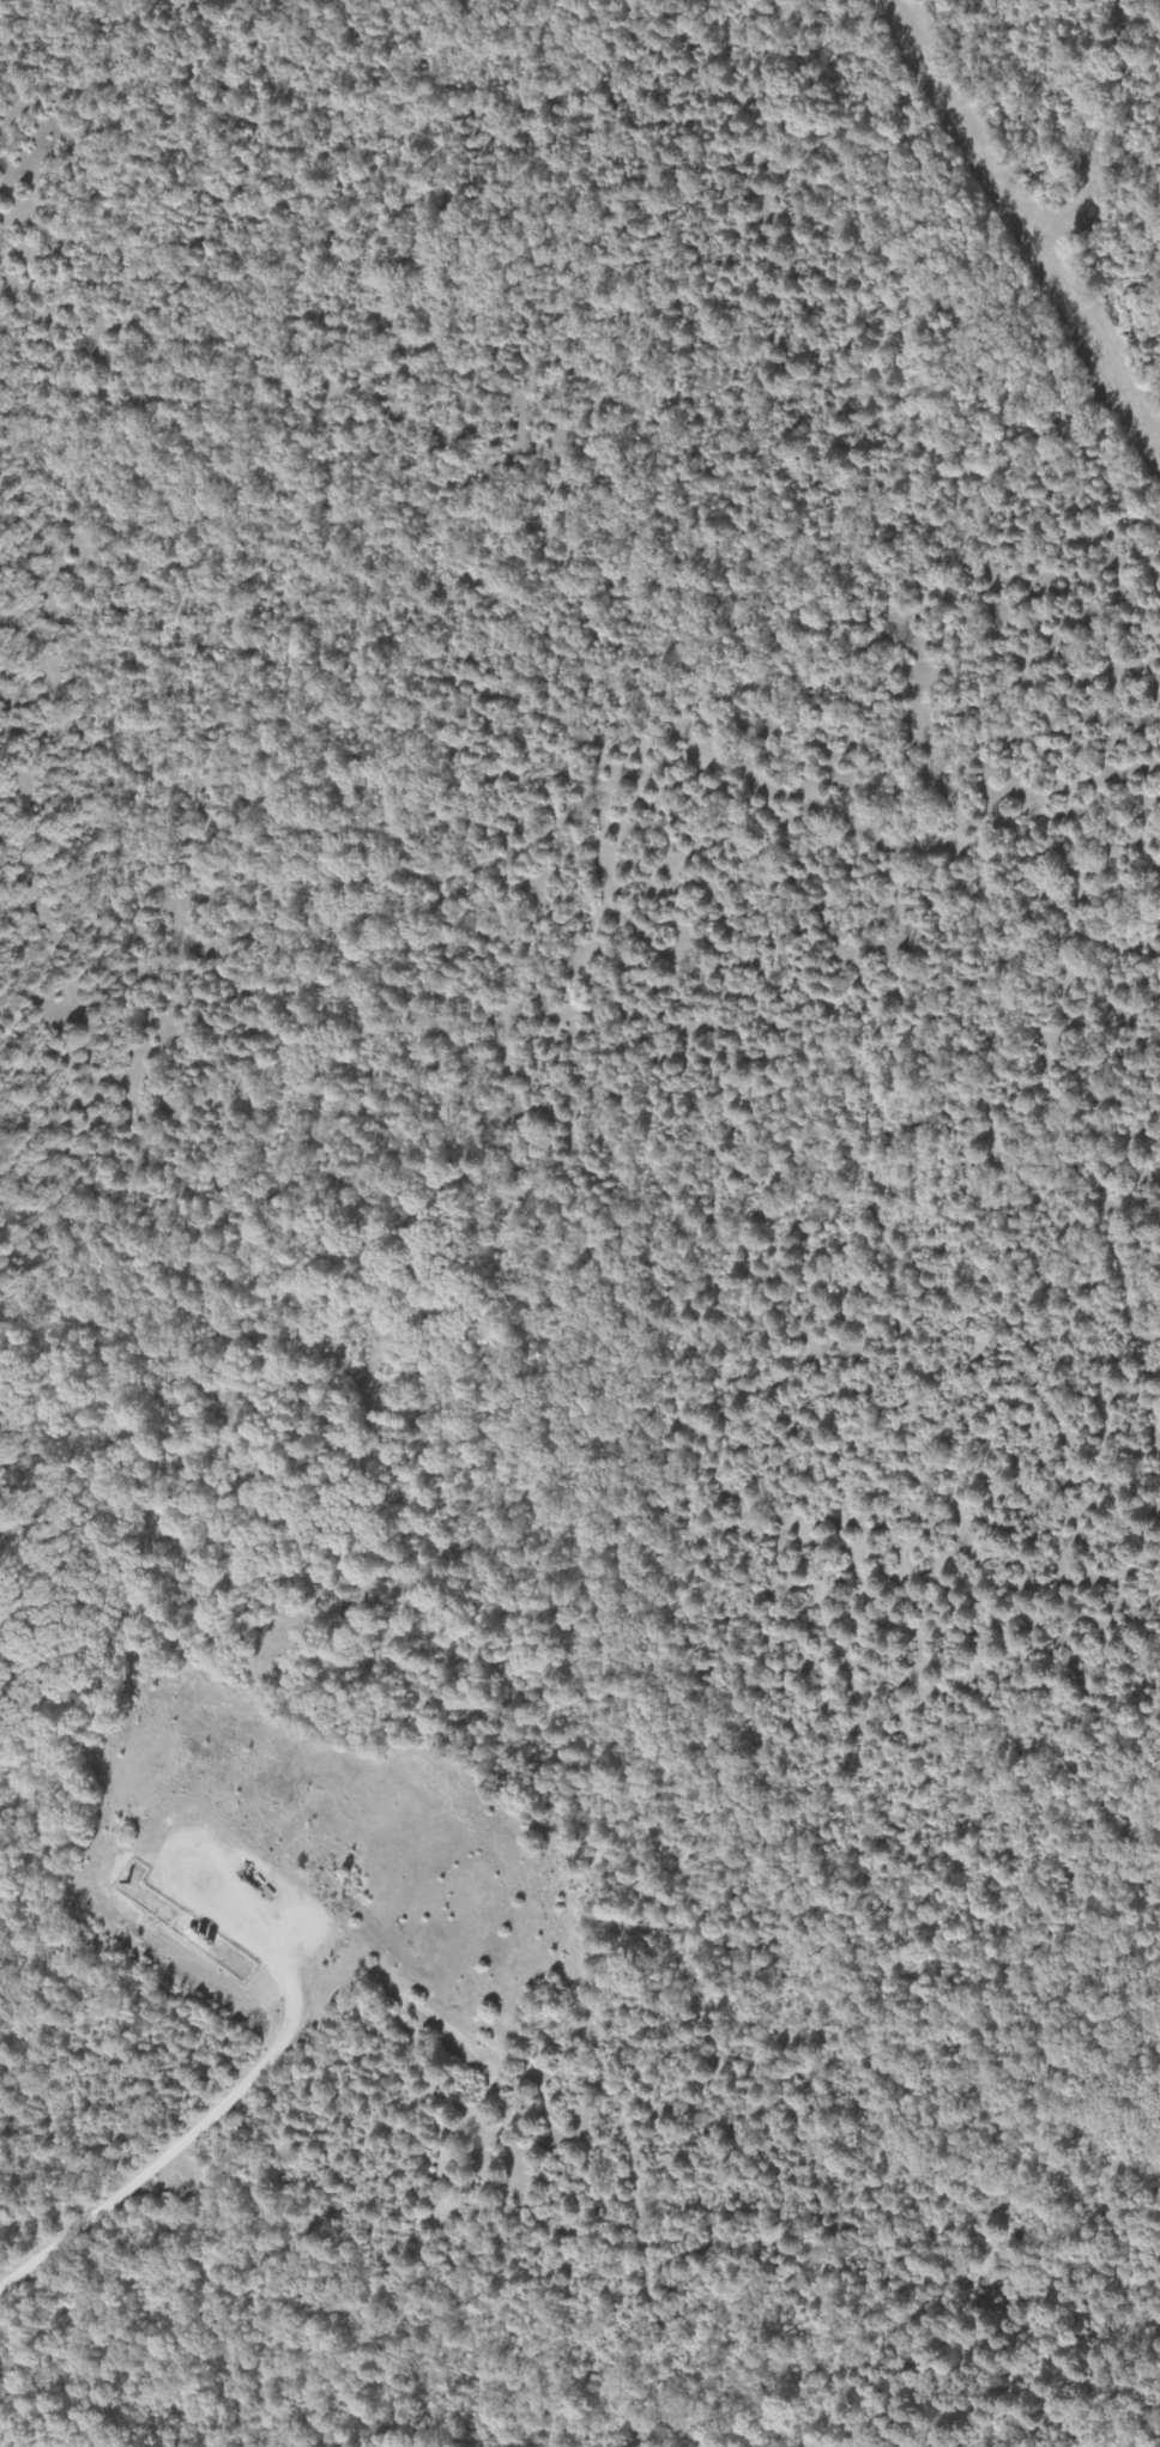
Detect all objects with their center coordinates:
road: (168, 1851)
petroleum well: (248, 1877)
chimney: (128, 1881)
chimney: (157, 1910)
silo: (192, 1932)
silo: (200, 1938)
silo: (209, 1945)
road: (189, 2135)

